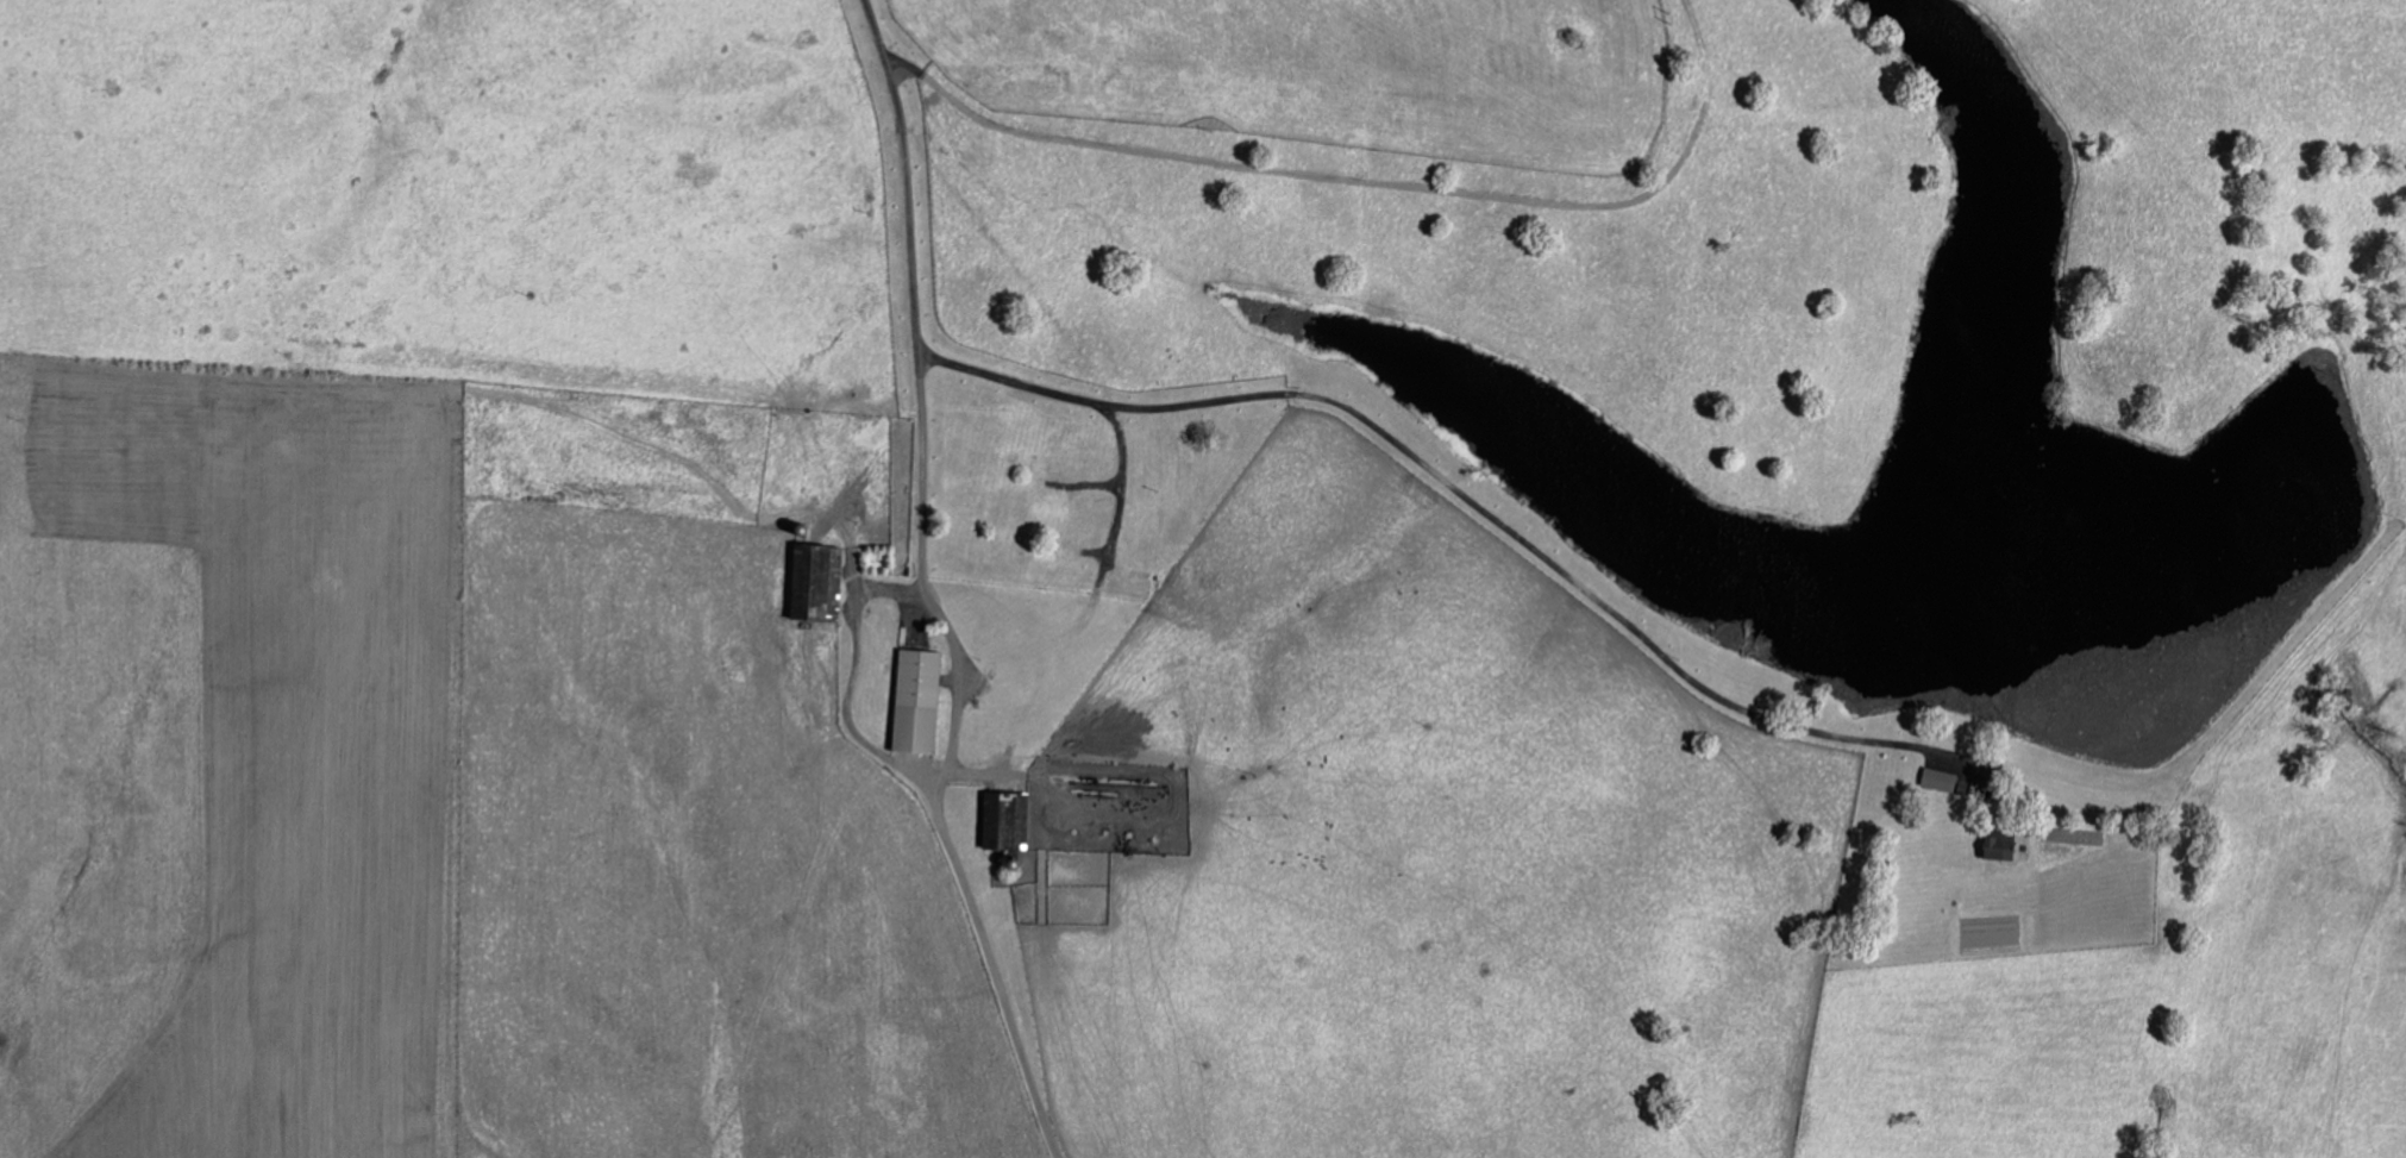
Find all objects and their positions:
road: (922, 578)
building: (923, 702)
building: (1936, 780)
building: (1011, 821)
road: (1053, 1146)

